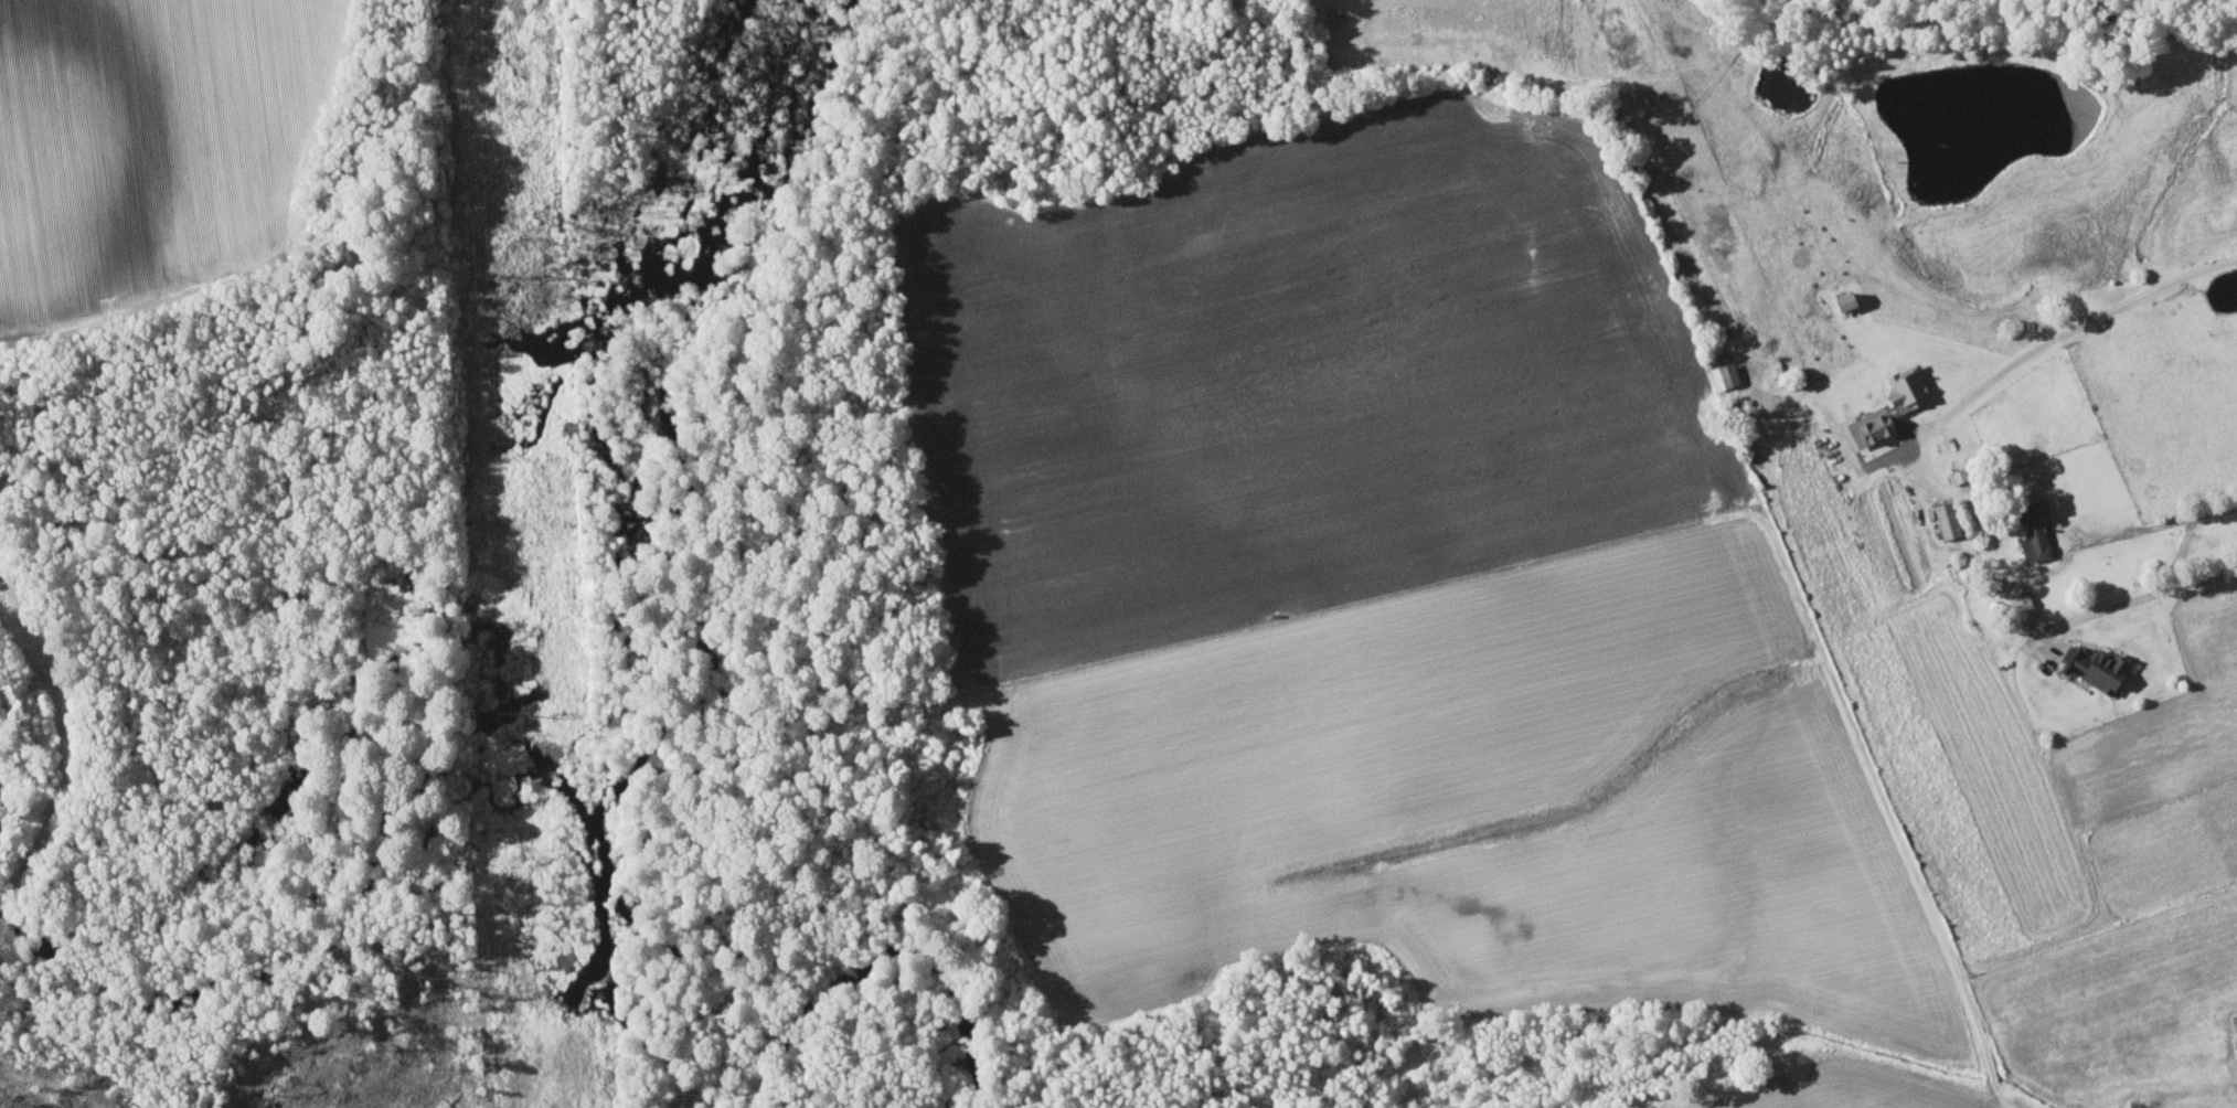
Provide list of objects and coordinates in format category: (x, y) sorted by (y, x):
power tower: (493, 273)
power tower: (534, 276)
building: (1839, 299)
road: (2058, 334)
building: (1903, 386)
building: (1945, 519)
road: (2156, 524)
building: (2032, 529)
road: (2133, 597)
building: (2021, 606)
building: (2091, 665)
power tower: (520, 710)
power tower: (562, 710)

